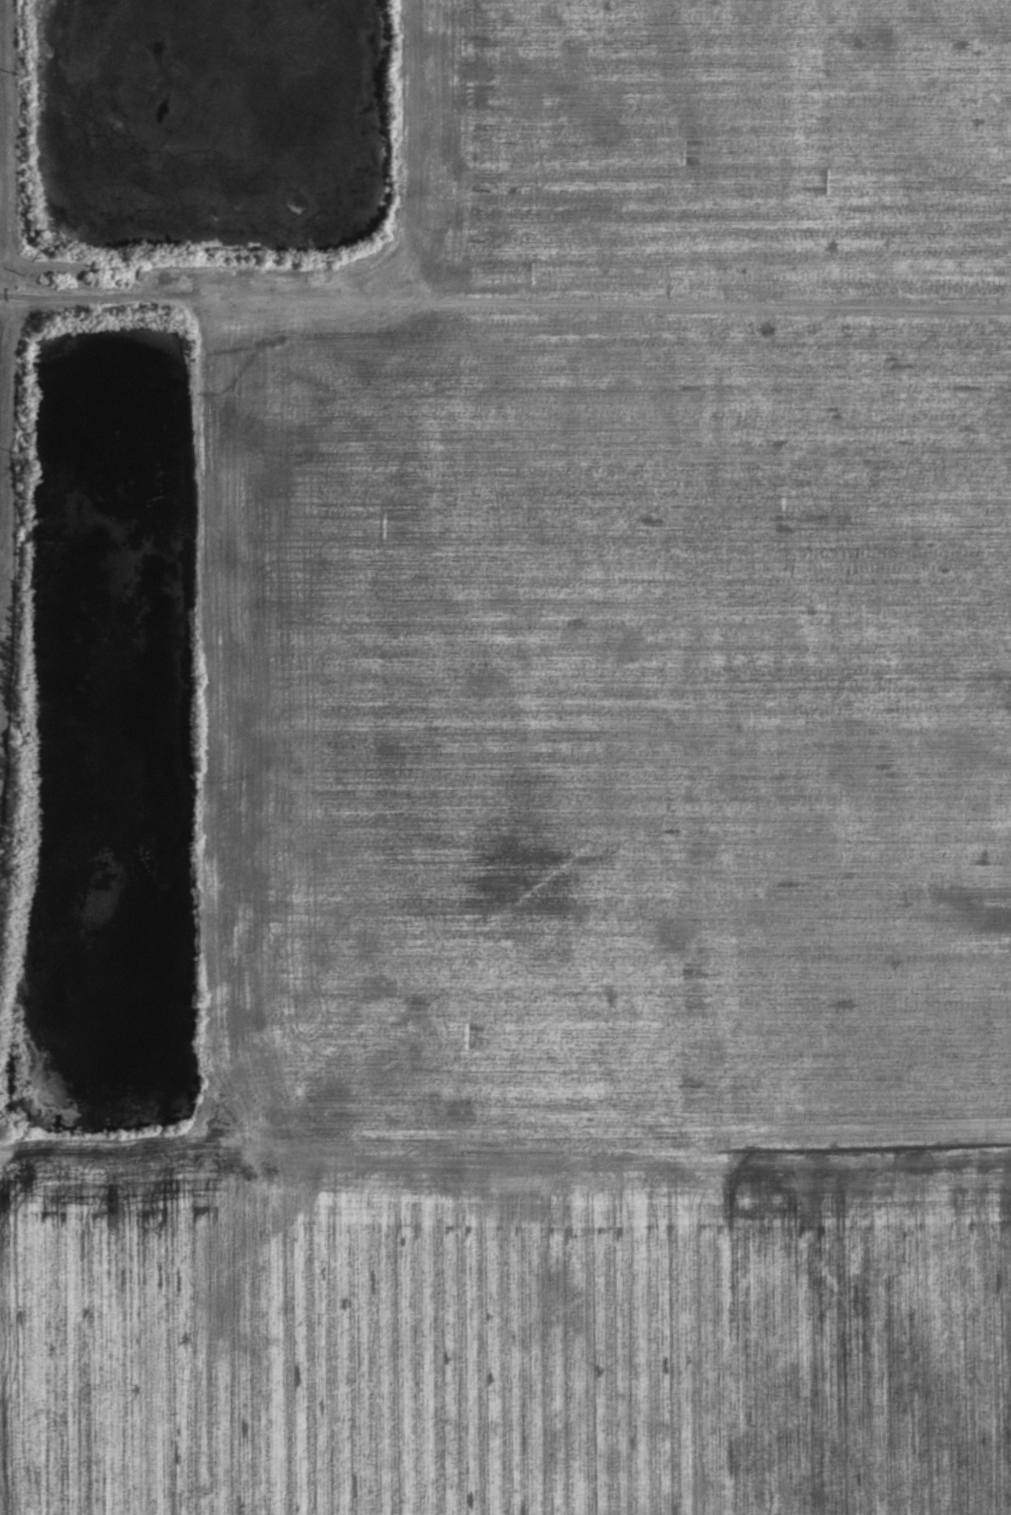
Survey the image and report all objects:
road: (506, 307)

